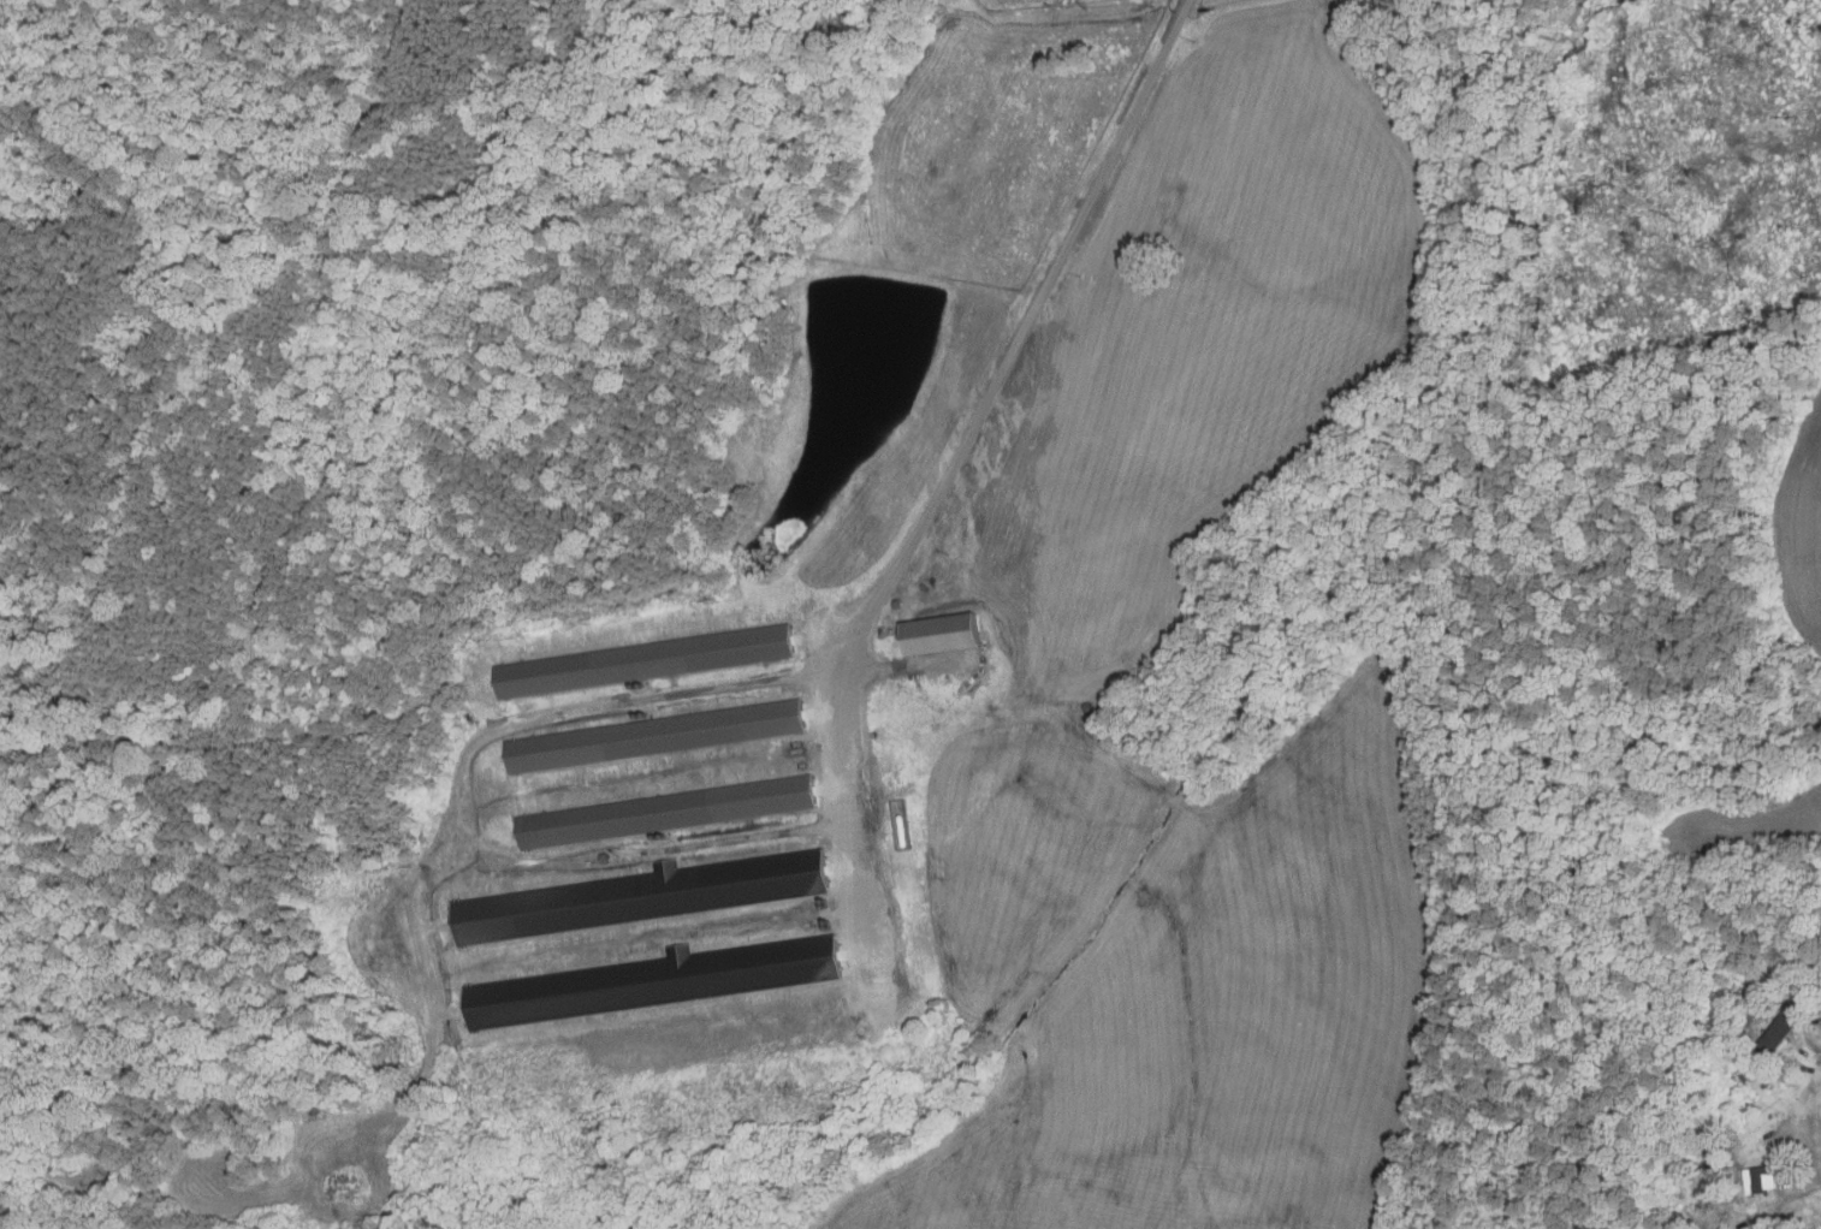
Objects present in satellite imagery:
road: (954, 463)
crop: (1801, 527)
building: (896, 604)
building: (938, 634)
building: (646, 663)
building: (1087, 707)
building: (657, 737)
building: (666, 813)
crop: (1733, 830)
building: (603, 859)
building: (639, 896)
building: (1787, 975)
building: (652, 982)
road: (1803, 1029)
building: (1776, 1033)
building: (701, 1035)
building: (316, 1111)
building: (1709, 1165)
building: (1758, 1180)
road: (1809, 1182)
building: (1726, 1215)

